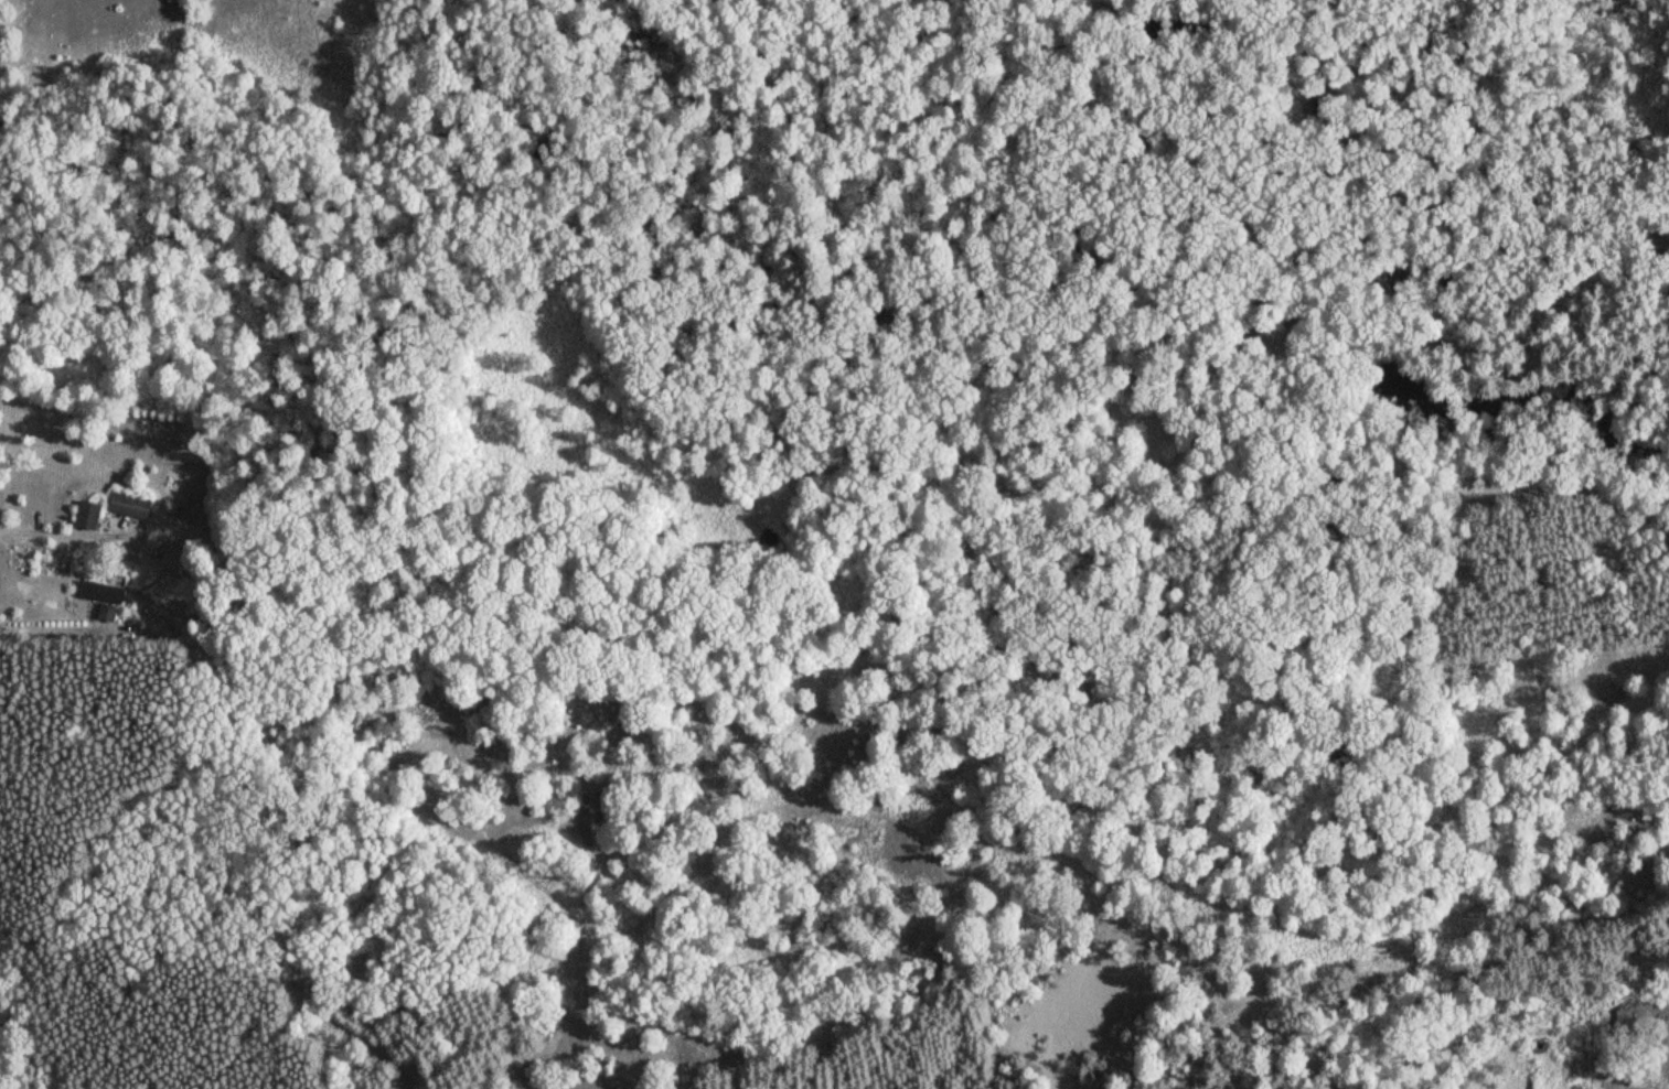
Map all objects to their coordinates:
building: (135, 505)
building: (92, 514)
building: (99, 592)

